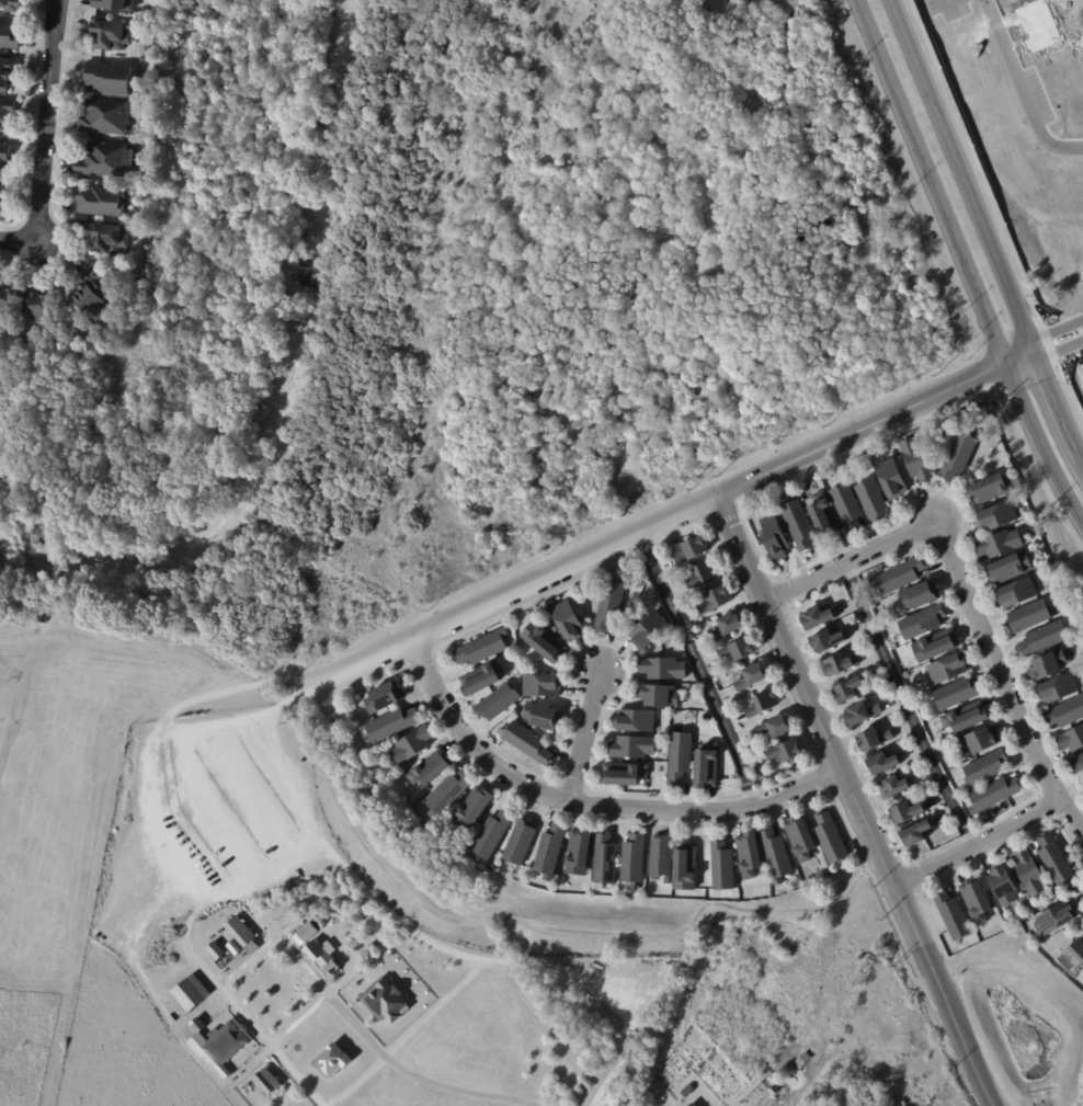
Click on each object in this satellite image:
road: (945, 0)
building: (114, 5)
building: (11, 7)
building: (1037, 24)
building: (111, 35)
building: (9, 36)
building: (1079, 37)
building: (968, 58)
building: (8, 73)
building: (109, 79)
road: (1022, 89)
building: (5, 115)
building: (105, 118)
road: (42, 139)
building: (4, 157)
building: (106, 162)
building: (2, 202)
building: (100, 203)
road: (985, 233)
building: (109, 239)
road: (962, 263)
building: (95, 296)
building: (9, 305)
building: (38, 310)
road: (1057, 337)
road: (875, 424)
building: (888, 453)
building: (960, 456)
building: (917, 460)
building: (892, 479)
building: (994, 489)
building: (874, 500)
building: (848, 505)
building: (824, 516)
building: (999, 517)
building: (801, 525)
building: (1034, 532)
building: (775, 539)
building: (1001, 545)
building: (693, 550)
building: (1011, 569)
building: (705, 575)
building: (900, 577)
building: (831, 586)
building: (1019, 593)
road: (511, 594)
building: (921, 596)
road: (967, 596)
building: (718, 600)
building: (612, 605)
building: (683, 606)
building: (1031, 617)
building: (819, 618)
building: (570, 622)
building: (924, 623)
building: (729, 627)
building: (557, 630)
building: (651, 631)
building: (1047, 639)
building: (546, 642)
building: (829, 642)
road: (121, 643)
building: (936, 647)
building: (485, 648)
building: (740, 650)
building: (841, 665)
building: (1051, 665)
building: (664, 669)
building: (950, 669)
road: (700, 670)
building: (754, 677)
building: (482, 679)
building: (543, 685)
building: (851, 691)
building: (1060, 691)
building: (956, 695)
building: (660, 696)
building: (386, 698)
building: (499, 703)
building: (763, 704)
road: (905, 707)
building: (1067, 714)
building: (863, 715)
building: (544, 717)
building: (967, 719)
building: (638, 721)
building: (395, 725)
building: (777, 728)
road: (585, 736)
building: (875, 740)
building: (982, 741)
building: (1072, 741)
building: (529, 744)
building: (413, 745)
building: (632, 748)
building: (369, 749)
building: (789, 752)
building: (682, 759)
building: (885, 764)
building: (708, 766)
building: (1079, 766)
building: (987, 768)
building: (432, 769)
building: (625, 775)
building: (760, 776)
building: (897, 787)
building: (449, 794)
building: (994, 796)
road: (590, 803)
road: (854, 803)
parking lot: (215, 808)
building: (475, 809)
building: (909, 813)
building: (442, 833)
building: (917, 834)
building: (492, 836)
building: (802, 839)
building: (832, 839)
building: (522, 843)
road: (976, 846)
building: (551, 852)
building: (581, 853)
building: (751, 856)
building: (777, 856)
building: (663, 857)
road: (213, 858)
building: (1057, 860)
building: (607, 862)
building: (636, 862)
building: (723, 867)
building: (686, 868)
building: (1033, 875)
building: (1004, 885)
building: (978, 902)
building: (344, 911)
building: (955, 916)
building: (1058, 919)
building: (320, 922)
road: (532, 928)
building: (240, 932)
building: (306, 933)
building: (205, 937)
road: (281, 939)
road: (469, 949)
building: (215, 950)
building: (1073, 956)
road: (248, 961)
building: (331, 968)
park: (432, 976)
building: (178, 983)
building: (187, 994)
road: (225, 994)
building: (386, 1002)
road: (646, 1015)
road: (299, 1022)
road: (854, 1028)
building: (217, 1039)
building: (800, 1060)
building: (328, 1062)
building: (267, 1082)
building: (585, 1083)
building: (578, 1092)
building: (774, 1092)
building: (686, 1093)
road: (595, 1105)
building: (691, 1105)

